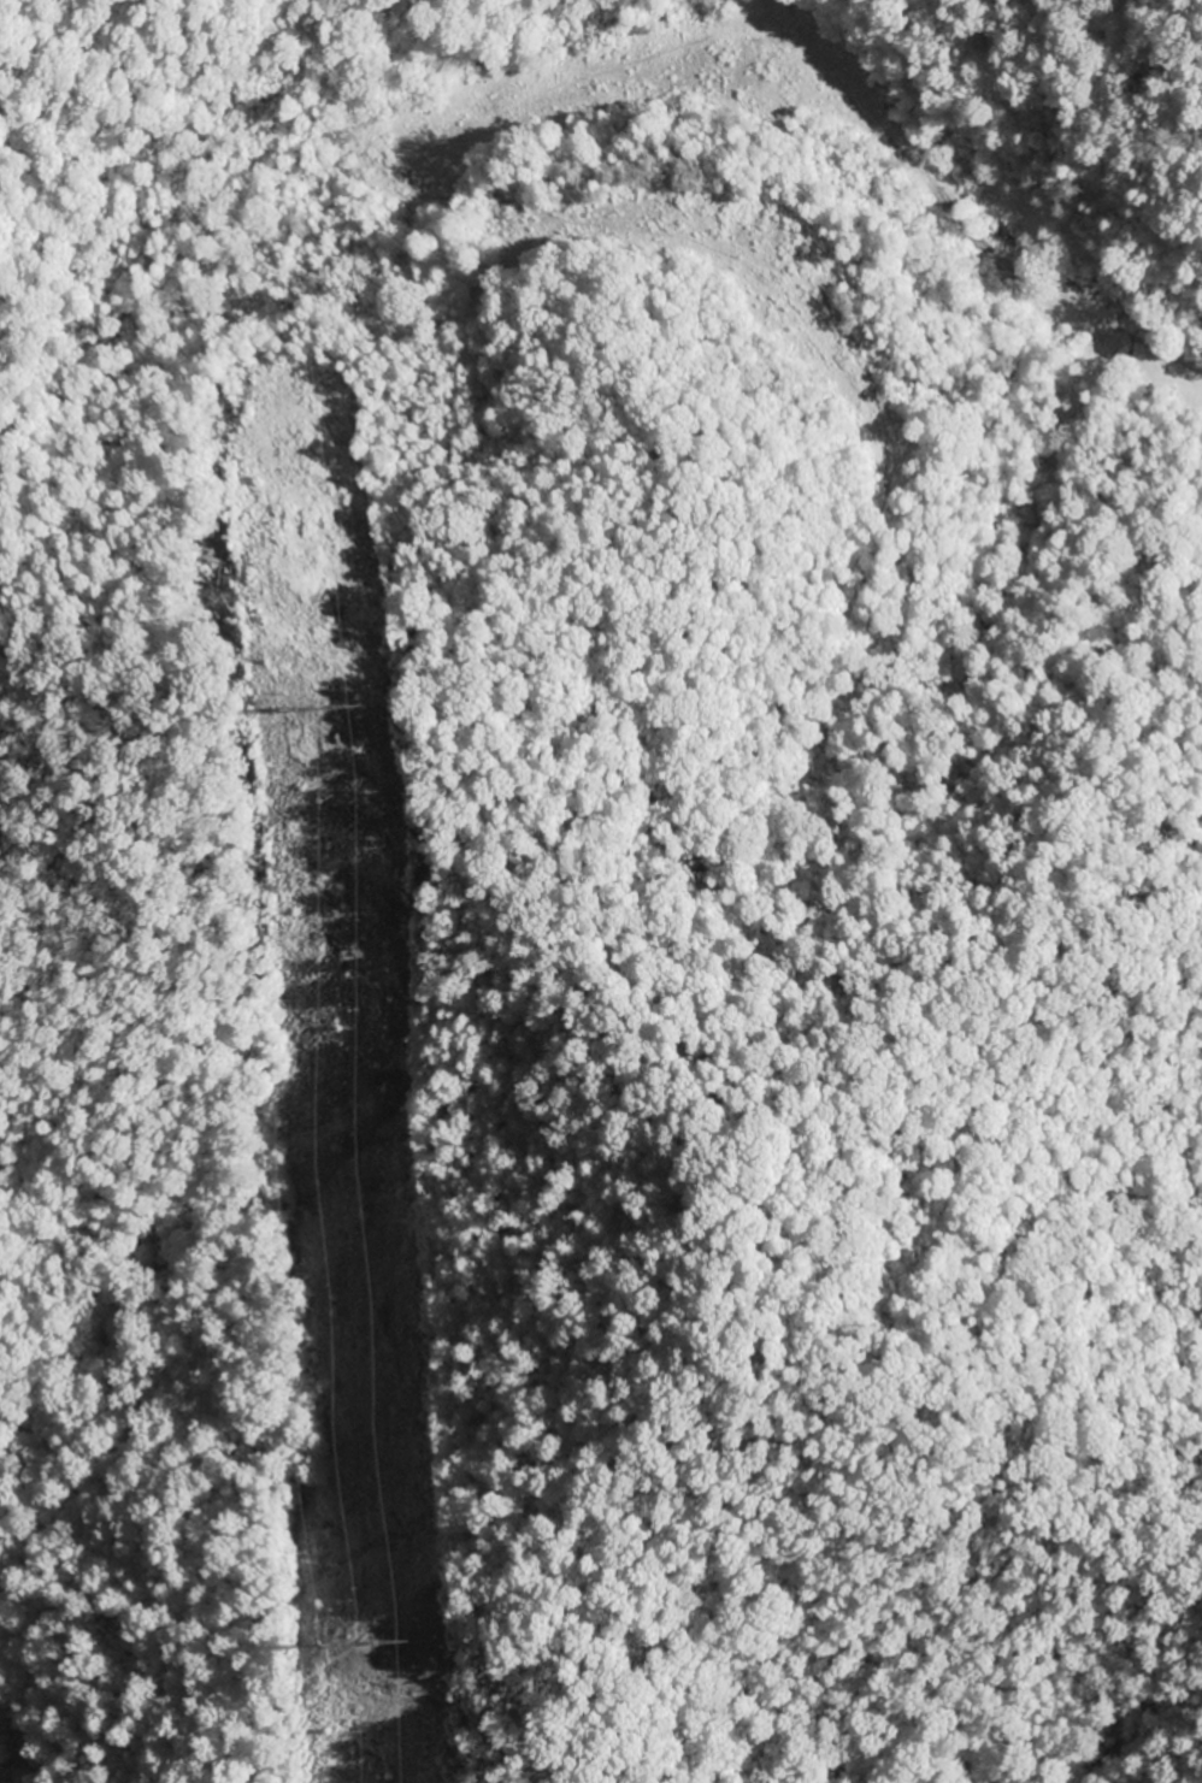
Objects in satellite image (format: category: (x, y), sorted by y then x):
power tower: (325, 736)
power tower: (372, 1681)

